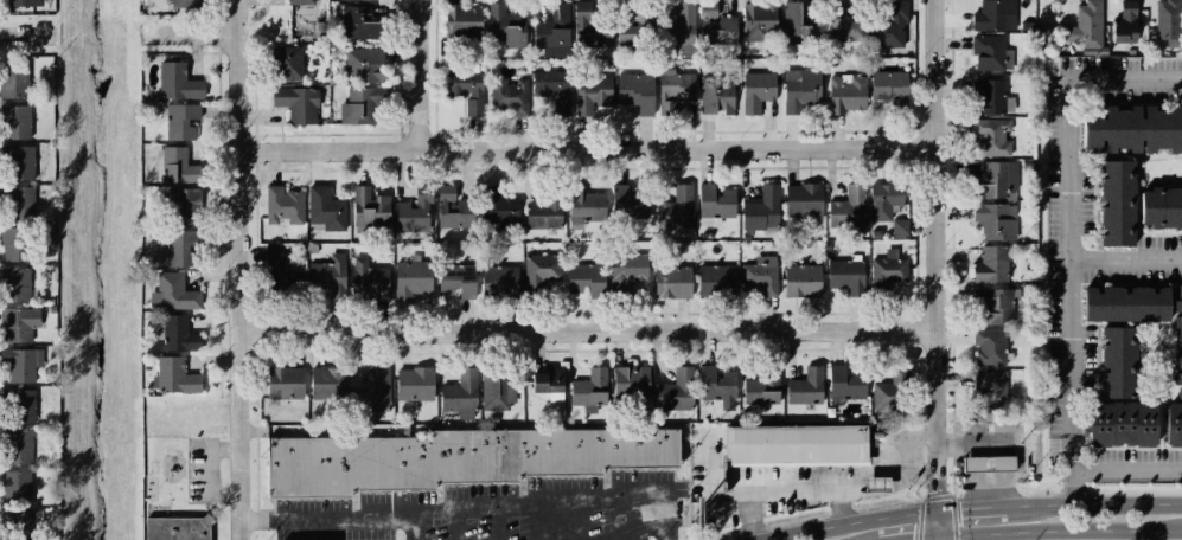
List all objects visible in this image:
building: (373, 0)
building: (183, 2)
building: (289, 2)
building: (25, 4)
building: (995, 13)
building: (675, 20)
building: (714, 20)
building: (839, 20)
building: (362, 21)
building: (606, 21)
building: (459, 22)
building: (759, 22)
building: (1120, 22)
building: (1165, 22)
building: (1087, 24)
building: (504, 25)
building: (796, 26)
building: (892, 27)
building: (548, 33)
building: (626, 33)
road: (189, 34)
building: (892, 44)
building: (989, 47)
building: (283, 63)
building: (363, 63)
road: (416, 73)
building: (14, 79)
building: (175, 83)
building: (888, 83)
building: (626, 84)
building: (670, 86)
building: (803, 89)
building: (590, 90)
building: (461, 91)
building: (755, 91)
building: (985, 92)
building: (550, 94)
building: (714, 94)
building: (510, 96)
building: (843, 96)
building: (356, 105)
building: (294, 107)
building: (18, 121)
building: (184, 124)
building: (1133, 129)
building: (991, 135)
road: (590, 148)
building: (21, 162)
building: (174, 166)
building: (992, 179)
building: (848, 198)
building: (884, 198)
building: (800, 199)
building: (621, 200)
building: (25, 202)
building: (714, 202)
building: (759, 202)
building: (281, 204)
building: (672, 204)
building: (1119, 204)
building: (1161, 204)
building: (449, 207)
building: (180, 208)
building: (324, 208)
building: (498, 208)
building: (577, 211)
building: (542, 212)
building: (369, 213)
road: (1071, 217)
building: (410, 218)
building: (995, 221)
building: (900, 226)
building: (15, 244)
building: (181, 251)
road: (1126, 259)
building: (989, 263)
building: (888, 269)
road: (237, 270)
building: (273, 270)
road: (945, 270)
building: (541, 274)
building: (620, 276)
building: (841, 276)
building: (320, 277)
building: (577, 277)
building: (404, 281)
building: (499, 281)
building: (711, 281)
building: (454, 282)
building: (754, 282)
building: (796, 282)
building: (369, 283)
building: (666, 283)
building: (15, 284)
building: (171, 292)
building: (1126, 303)
building: (991, 307)
building: (20, 323)
building: (1181, 323)
road: (592, 329)
building: (175, 335)
building: (986, 346)
building: (1120, 360)
building: (18, 365)
building: (544, 378)
building: (171, 379)
building: (845, 379)
building: (286, 381)
building: (800, 382)
building: (327, 384)
building: (416, 384)
building: (758, 384)
building: (989, 384)
building: (368, 385)
building: (711, 385)
building: (628, 386)
building: (893, 390)
building: (496, 391)
building: (586, 391)
building: (669, 391)
building: (456, 398)
building: (15, 409)
building: (1125, 423)
building: (1176, 424)
building: (982, 427)
road: (913, 437)
building: (794, 446)
building: (13, 448)
building: (452, 458)
building: (986, 465)
road: (640, 467)
road: (890, 469)
road: (1127, 469)
road: (549, 470)
road: (466, 480)
building: (876, 483)
road: (1075, 487)
road: (385, 488)
building: (13, 489)
road: (790, 490)
road: (270, 503)
road: (1104, 504)
road: (469, 508)
road: (1010, 508)
road: (966, 512)
street lamp: (599, 514)
road: (625, 514)
traffic signals: (940, 514)
road: (255, 516)
road: (547, 520)
road: (850, 522)
road: (494, 523)
building: (18, 525)
road: (453, 525)
road: (410, 527)
building: (177, 528)
street lamp: (472, 529)
road: (1059, 531)
road: (634, 532)
road: (663, 532)
road: (932, 539)
traffic signals: (938, 539)

